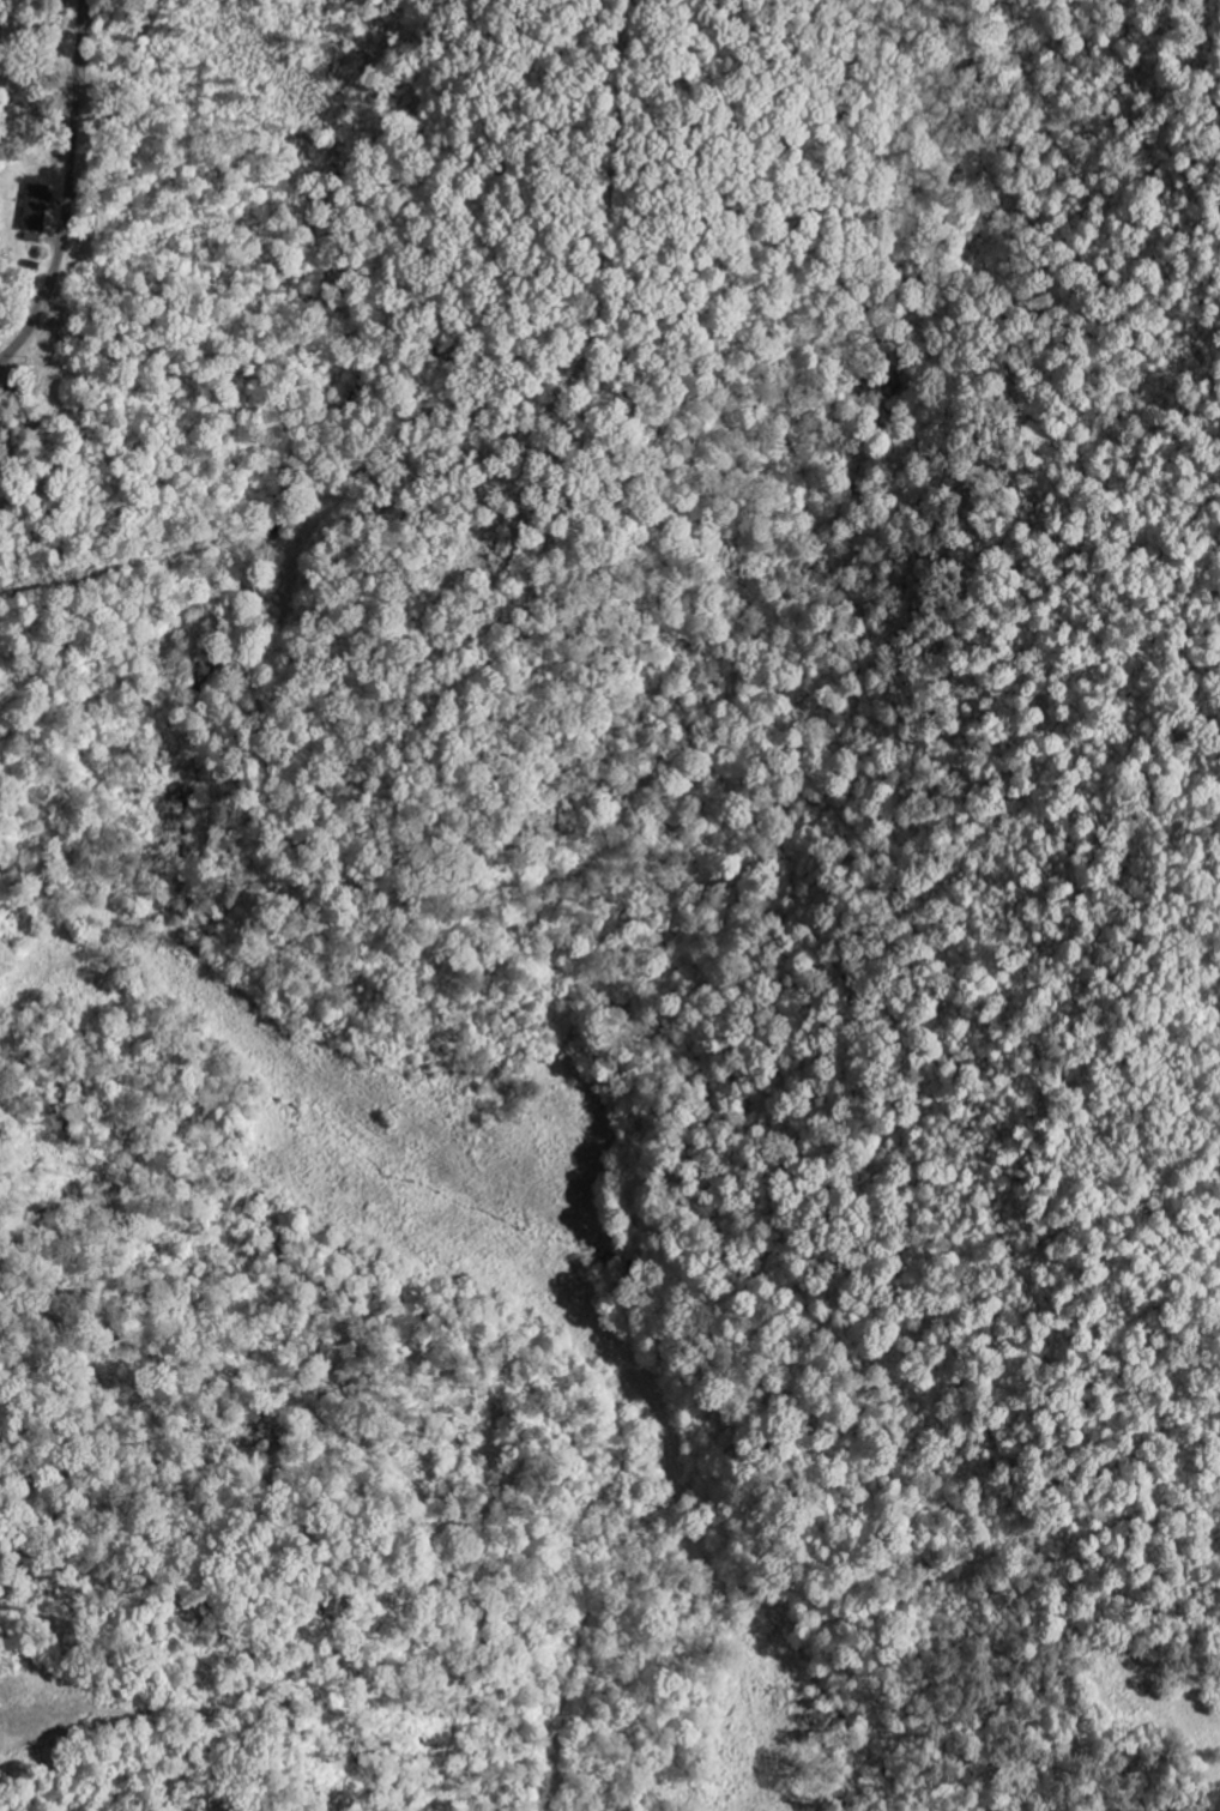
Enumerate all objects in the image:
road: (66, 188)
building: (37, 210)

